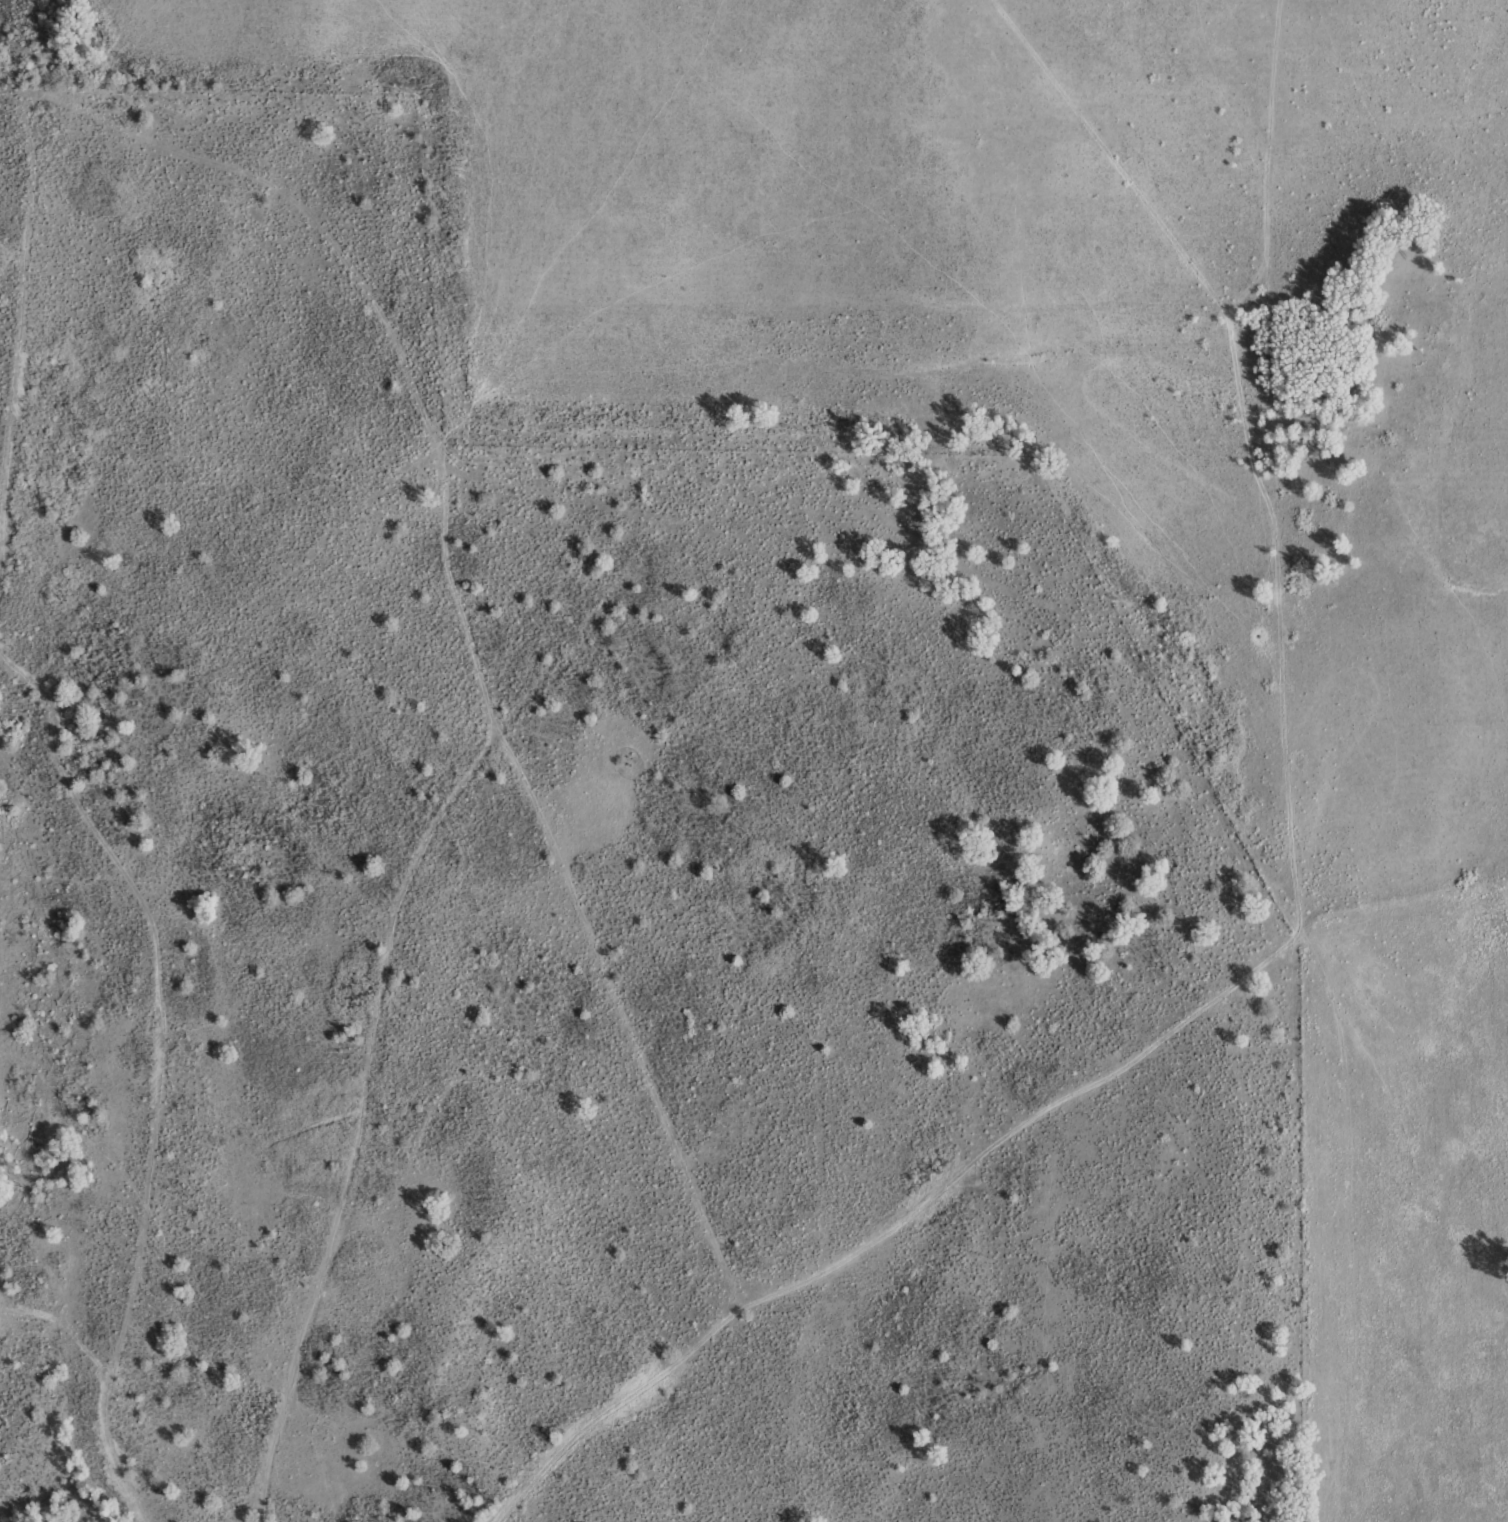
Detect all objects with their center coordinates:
road: (987, 1169)
crop: (631, 1493)

